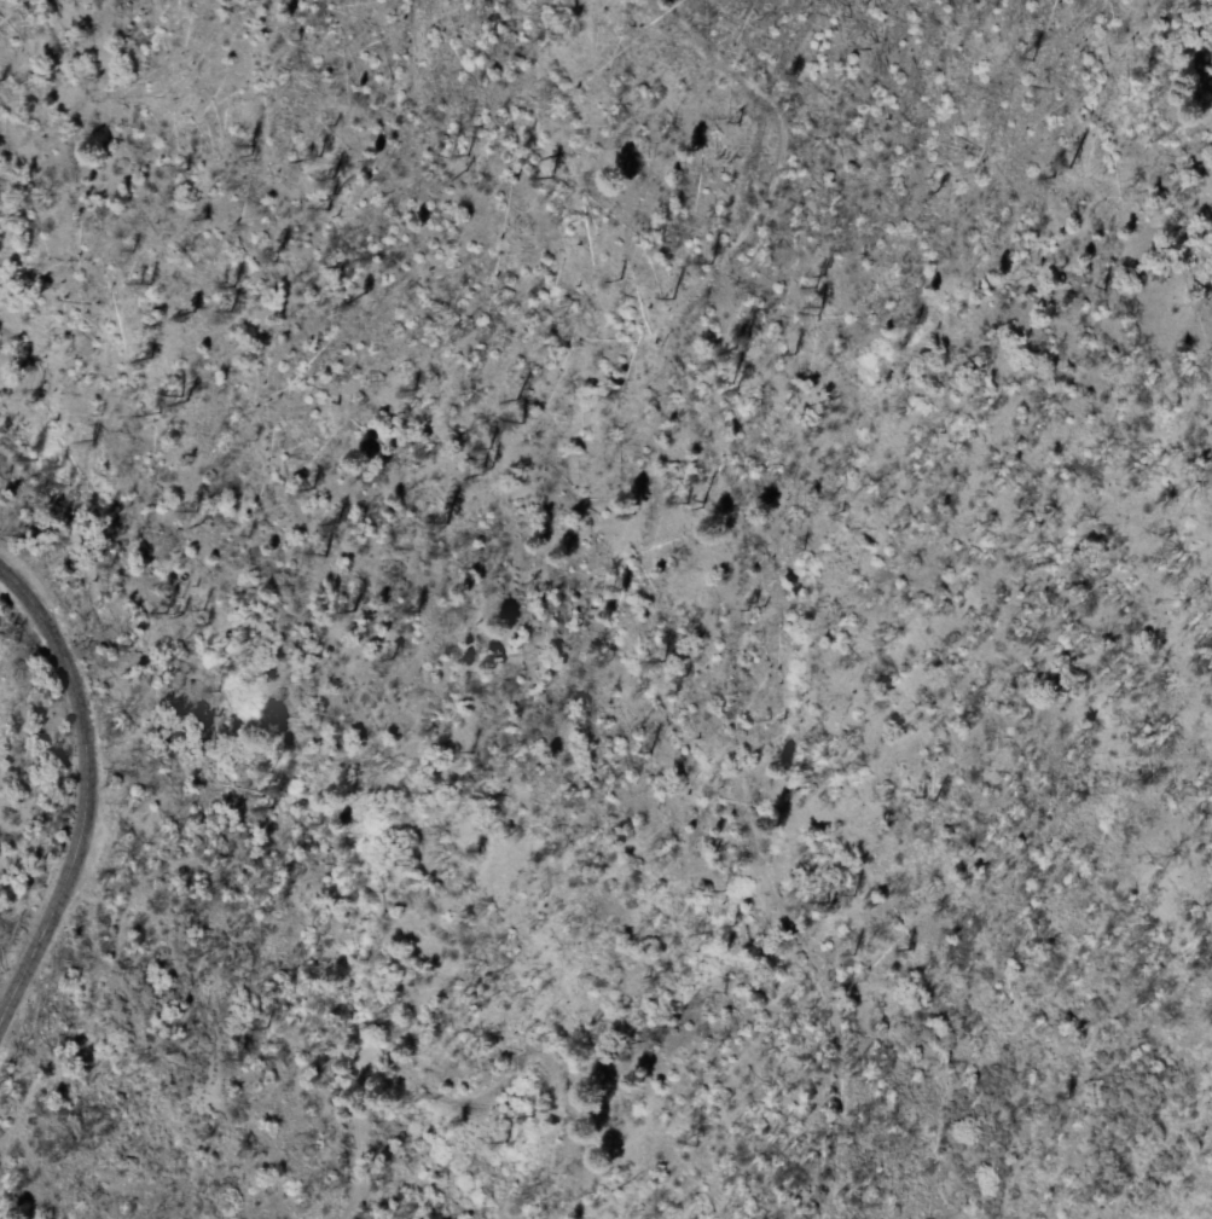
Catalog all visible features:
road: (89, 794)
road: (485, 1073)

